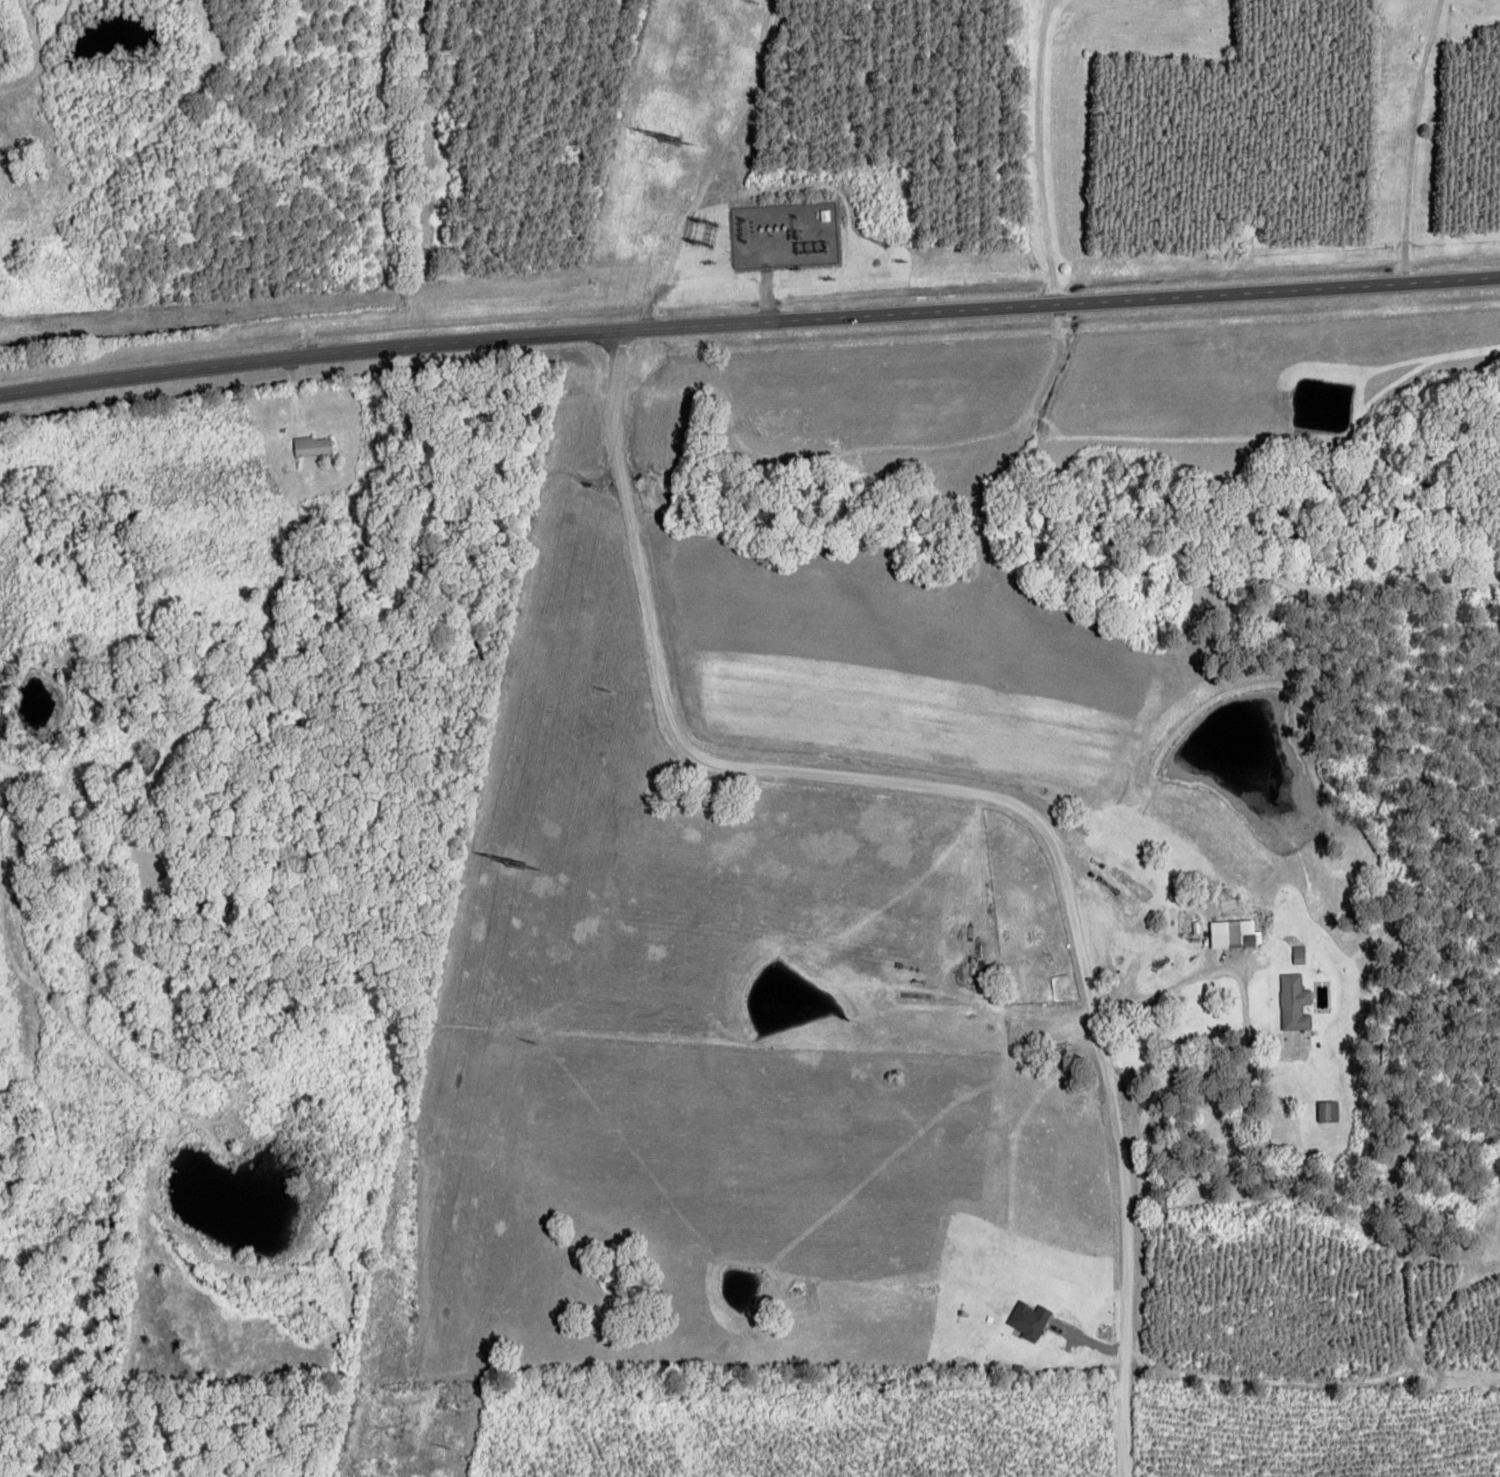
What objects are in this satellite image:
power tower: (664, 143)
road: (1044, 151)
power substation: (782, 236)
road: (748, 320)
road: (609, 431)
building: (312, 446)
road: (1052, 856)
power tower: (511, 864)
building: (1234, 934)
building: (1299, 955)
building: (1294, 1003)
building: (1328, 1111)
building: (1029, 1319)

